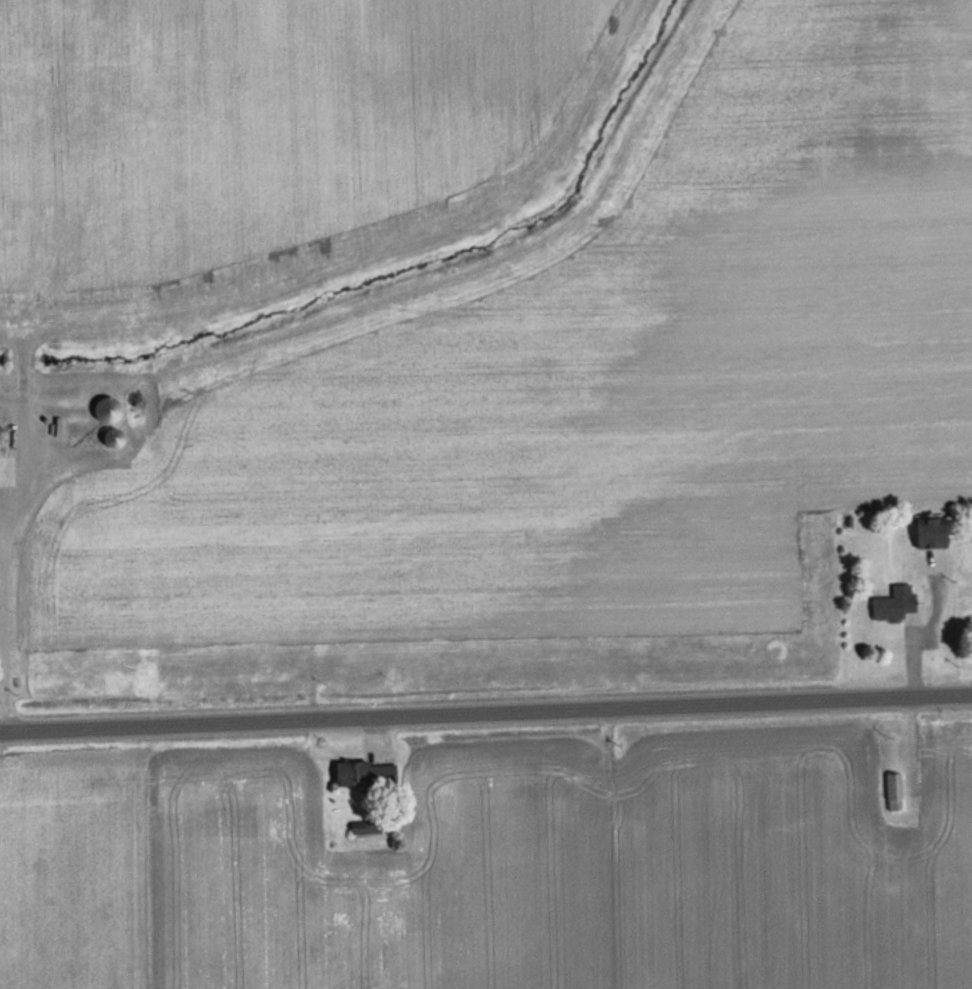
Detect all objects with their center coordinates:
road: (349, 250)
road: (12, 328)
building: (106, 409)
building: (113, 438)
road: (22, 441)
building: (930, 532)
building: (894, 603)
road: (3, 613)
road: (485, 712)
building: (365, 774)
building: (893, 791)
building: (365, 826)

